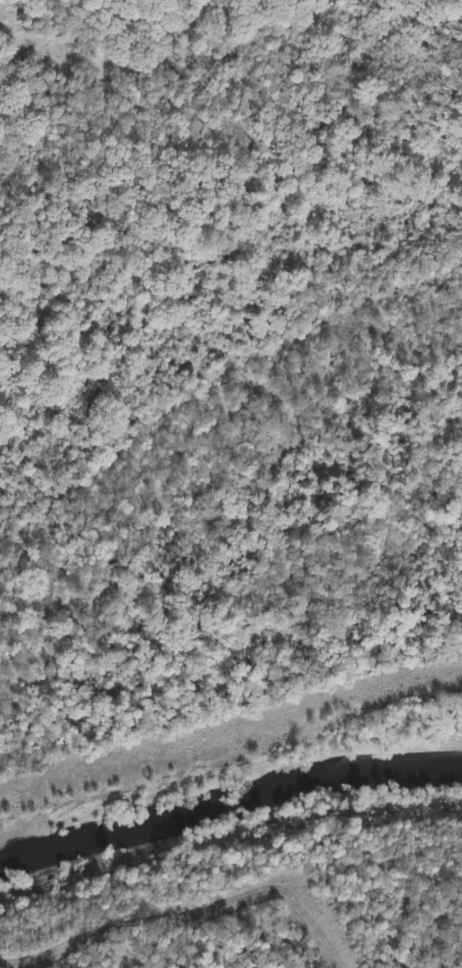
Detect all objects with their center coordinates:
river: (230, 807)

